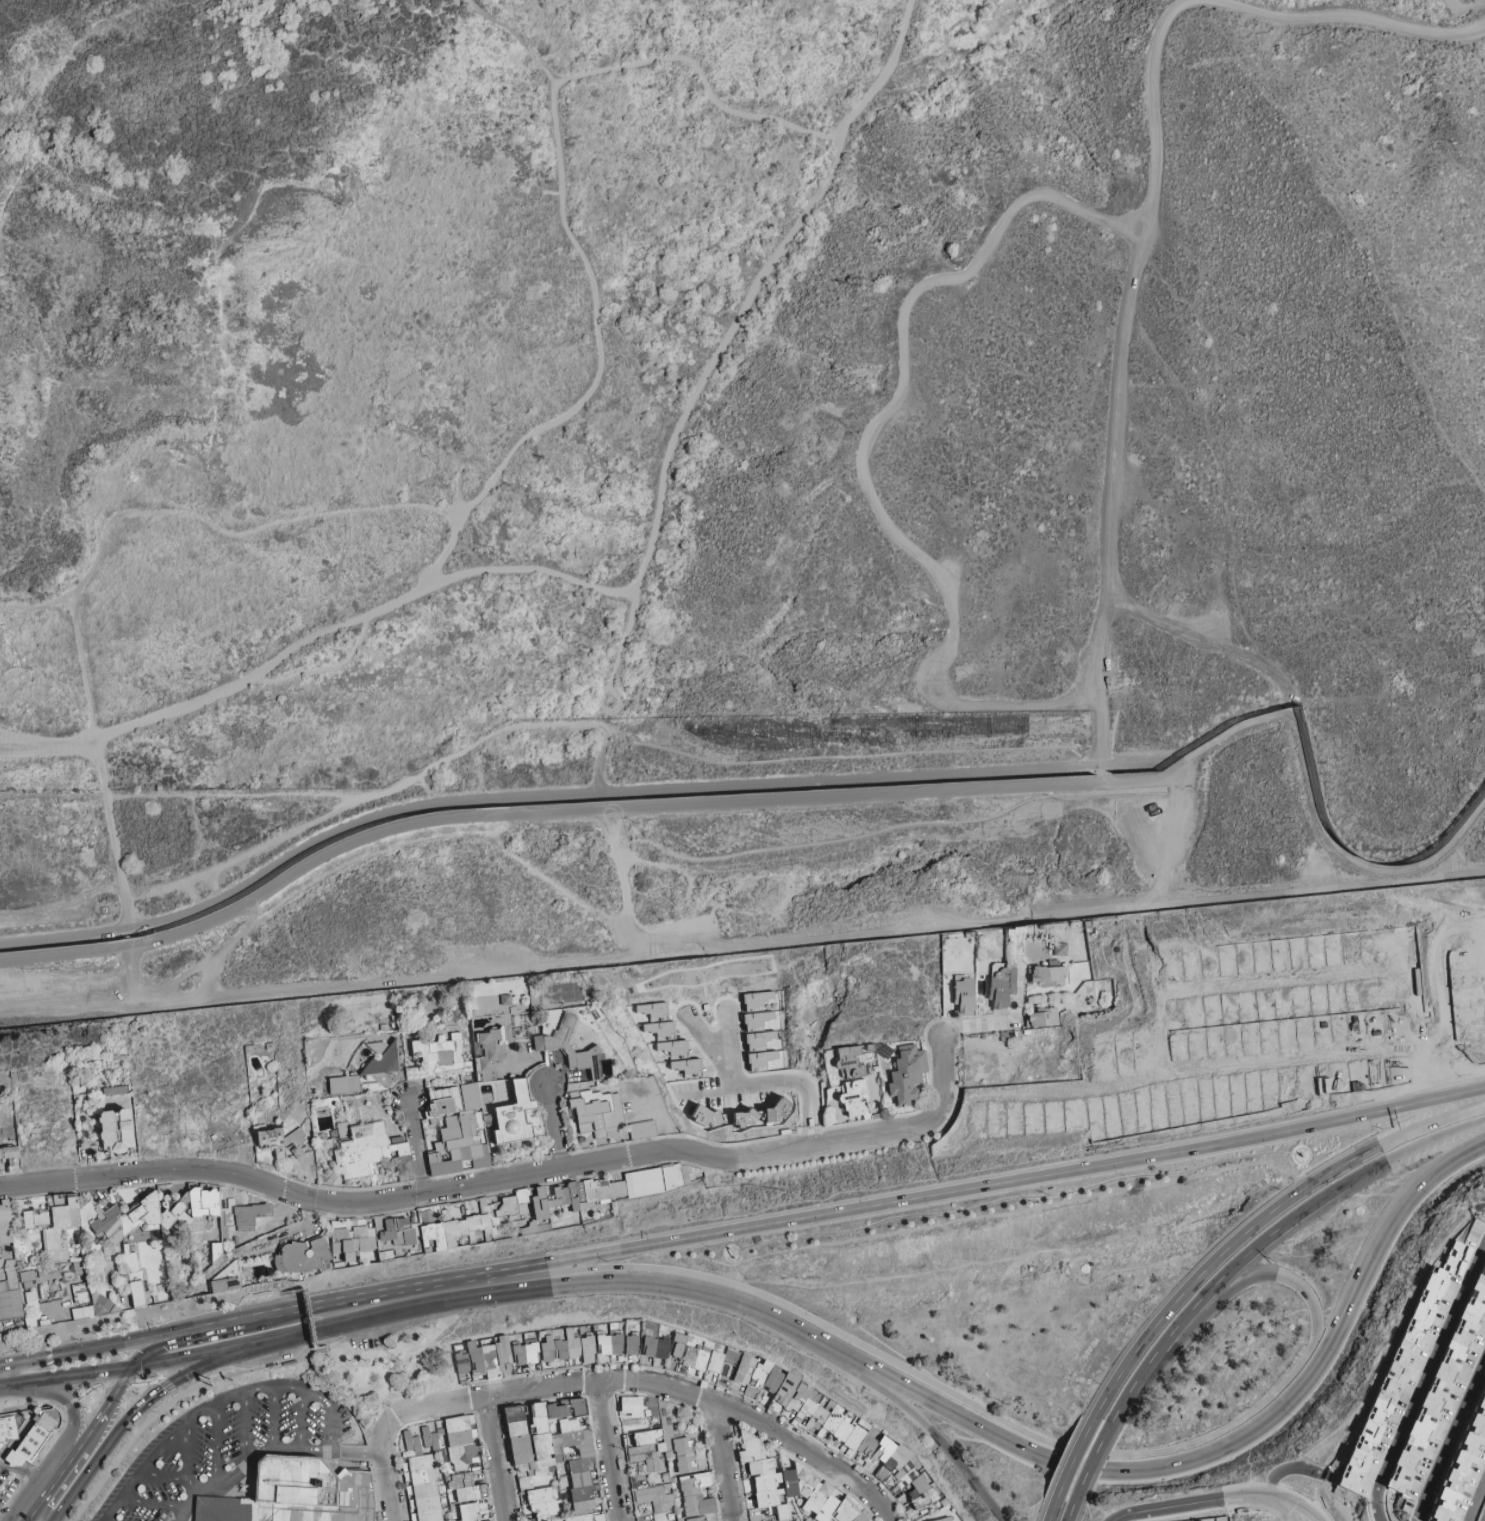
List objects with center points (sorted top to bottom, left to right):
road: (1212, 2)
road: (649, 63)
road: (883, 73)
road: (30, 148)
road: (1356, 214)
road: (599, 363)
road: (1115, 421)
road: (860, 448)
road: (670, 449)
road: (172, 511)
road: (35, 605)
road: (1125, 610)
road: (262, 669)
road: (318, 669)
road: (612, 672)
road: (46, 746)
road: (97, 767)
road: (1308, 768)
road: (393, 787)
road: (564, 793)
road: (543, 812)
road: (117, 861)
building: (1043, 927)
building: (1012, 928)
building: (1030, 931)
building: (961, 935)
road: (742, 949)
building: (1061, 949)
building: (1054, 963)
building: (997, 969)
building: (1003, 974)
building: (1030, 974)
building: (1049, 975)
building: (1066, 975)
building: (960, 978)
building: (1097, 978)
building: (1109, 982)
building: (1099, 983)
building: (1091, 984)
building: (982, 987)
building: (1003, 989)
building: (1083, 990)
building: (563, 993)
building: (535, 994)
building: (965, 995)
building: (506, 1001)
building: (759, 1002)
building: (536, 1005)
building: (588, 1005)
building: (978, 1007)
building: (513, 1010)
building: (1001, 1010)
building: (979, 1013)
building: (966, 1014)
building: (473, 1016)
building: (1042, 1018)
road: (1004, 1023)
building: (529, 1027)
building: (549, 1027)
building: (384, 1028)
building: (400, 1028)
building: (566, 1028)
building: (660, 1031)
road: (722, 1035)
building: (495, 1036)
building: (503, 1036)
building: (442, 1039)
building: (485, 1039)
building: (439, 1042)
building: (432, 1043)
building: (500, 1044)
building: (539, 1044)
building: (872, 1047)
building: (271, 1048)
building: (379, 1048)
building: (478, 1048)
building: (672, 1048)
building: (500, 1049)
building: (561, 1050)
building: (597, 1050)
road: (711, 1050)
building: (424, 1051)
building: (885, 1051)
building: (401, 1056)
building: (488, 1057)
building: (446, 1058)
building: (547, 1058)
building: (501, 1059)
building: (761, 1060)
building: (850, 1060)
building: (551, 1061)
building: (265, 1062)
building: (383, 1063)
building: (847, 1063)
building: (922, 1063)
building: (492, 1064)
building: (589, 1064)
building: (402, 1065)
building: (478, 1065)
building: (559, 1067)
building: (258, 1068)
building: (686, 1068)
building: (402, 1069)
building: (608, 1069)
building: (419, 1073)
building: (479, 1073)
building: (855, 1073)
building: (490, 1075)
building: (905, 1076)
road: (942, 1076)
building: (462, 1079)
building: (480, 1079)
building: (904, 1079)
building: (250, 1080)
building: (342, 1085)
building: (593, 1085)
building: (854, 1085)
building: (428, 1086)
road: (797, 1086)
building: (578, 1087)
road: (702, 1092)
building: (514, 1093)
building: (575, 1096)
building: (323, 1097)
building: (471, 1097)
building: (487, 1097)
building: (851, 1098)
building: (447, 1099)
building: (597, 1099)
building: (854, 1099)
building: (343, 1101)
building: (334, 1104)
building: (475, 1112)
building: (776, 1112)
building: (591, 1113)
building: (466, 1114)
building: (574, 1114)
building: (125, 1115)
building: (516, 1115)
building: (449, 1116)
building: (511, 1116)
building: (488, 1118)
building: (494, 1118)
building: (612, 1119)
building: (743, 1119)
building: (325, 1120)
building: (479, 1122)
building: (126, 1126)
road: (558, 1126)
building: (512, 1128)
building: (117, 1129)
building: (344, 1129)
building: (108, 1130)
building: (259, 1130)
building: (452, 1130)
building: (641, 1130)
building: (463, 1134)
building: (335, 1135)
building: (320, 1136)
building: (128, 1139)
building: (295, 1139)
building: (273, 1143)
building: (326, 1144)
road: (413, 1147)
building: (120, 1149)
building: (366, 1150)
building: (12, 1153)
building: (2, 1154)
building: (88, 1155)
building: (11, 1162)
building: (656, 1180)
building: (599, 1191)
building: (243, 1213)
building: (492, 1215)
building: (4, 1222)
building: (122, 1226)
building: (529, 1228)
building: (371, 1237)
building: (215, 1249)
building: (300, 1256)
building: (1484, 1259)
building: (6, 1266)
building: (78, 1268)
building: (26, 1279)
building: (224, 1284)
building: (9, 1302)
building: (609, 1345)
building: (630, 1345)
building: (566, 1346)
building: (677, 1346)
building: (654, 1348)
building: (524, 1353)
building: (481, 1360)
park: (436, 1363)
building: (1396, 1375)
building: (1435, 1397)
building: (824, 1422)
building: (9, 1429)
building: (36, 1434)
building: (428, 1440)
building: (460, 1441)
building: (410, 1444)
building: (555, 1448)
parking lot: (229, 1449)
building: (642, 1458)
building: (13, 1459)
building: (1464, 1471)
building: (903, 1476)
building: (791, 1486)
building: (465, 1487)
building: (432, 1493)
building: (294, 1495)
building: (654, 1497)
building: (541, 1503)
building: (944, 1519)
building: (1199, 1520)

